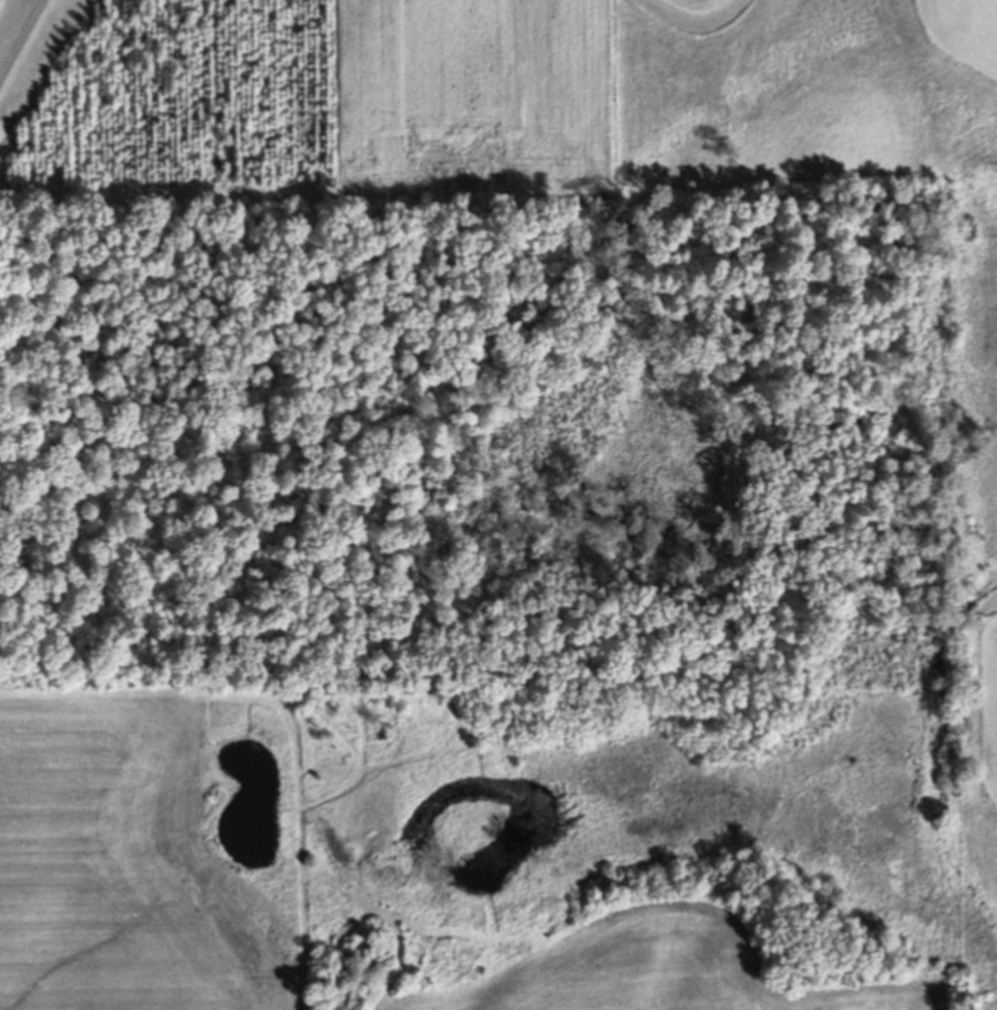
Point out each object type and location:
road: (20, 35)

